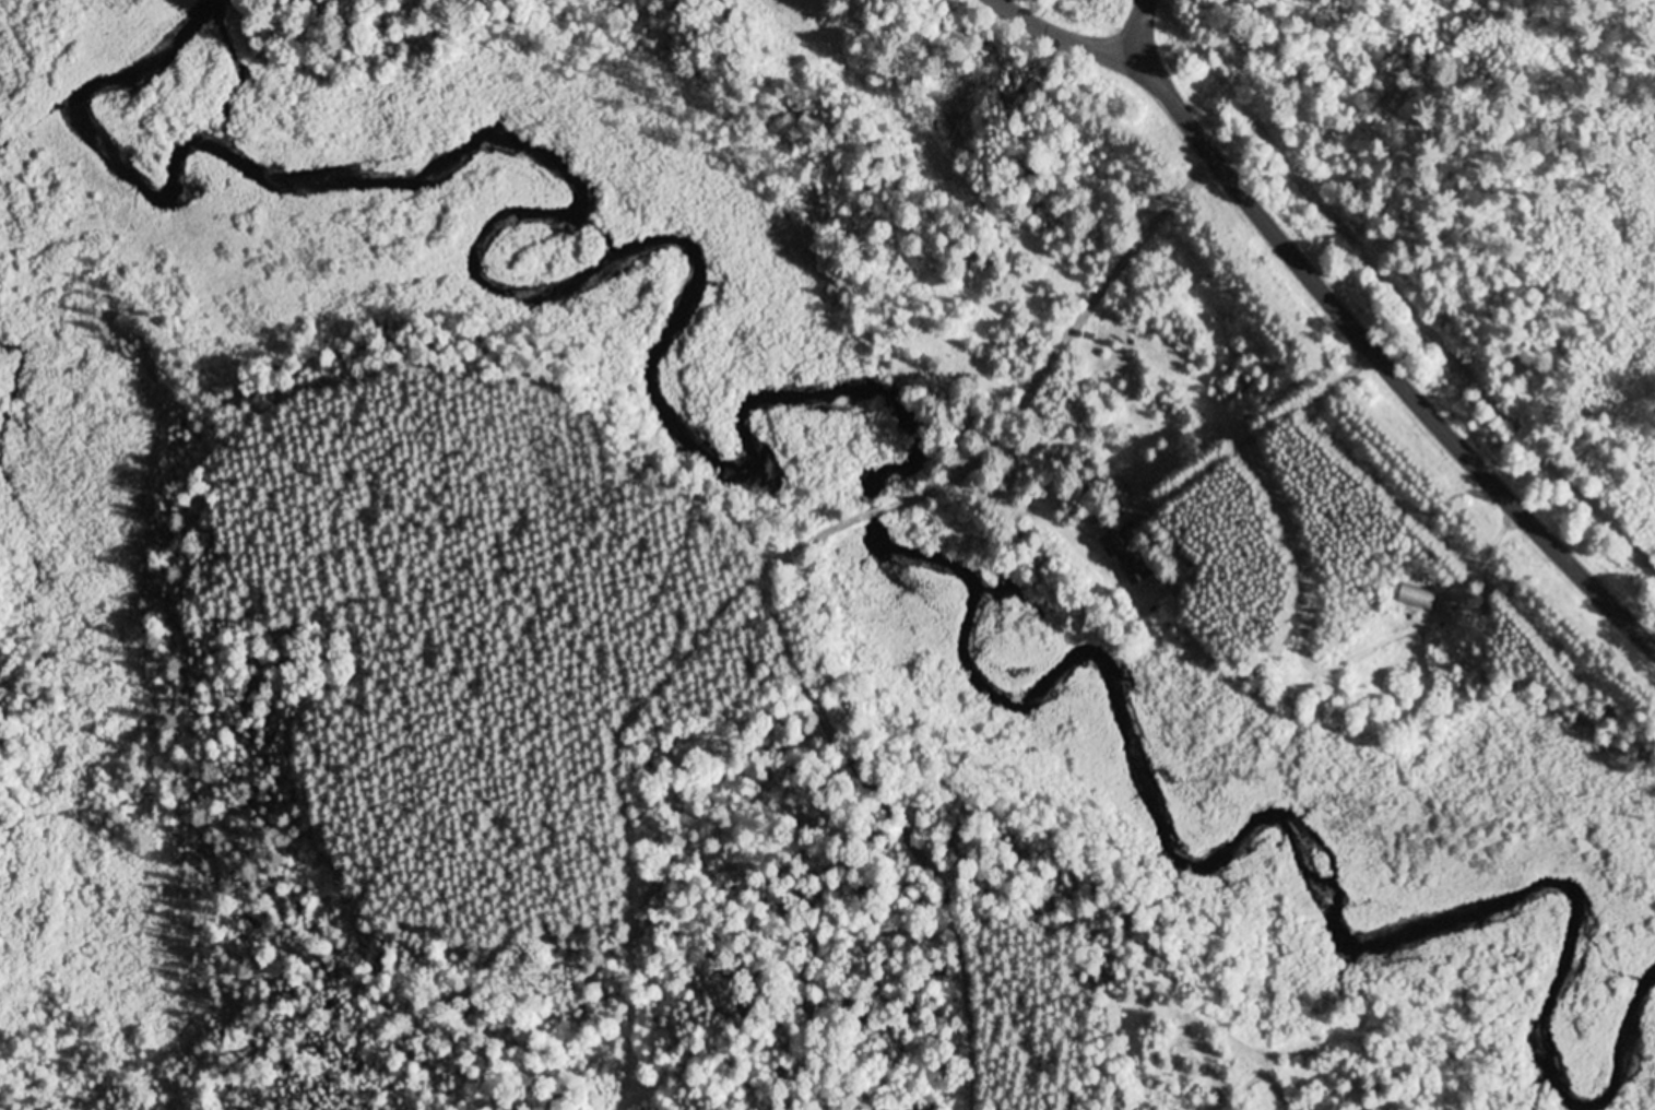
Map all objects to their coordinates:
road: (1136, 33)
road: (1063, 37)
road: (1386, 370)
road: (1152, 503)
road: (877, 507)
road: (815, 535)
building: (1112, 544)
road: (779, 545)
building: (1136, 569)
building: (1418, 597)

